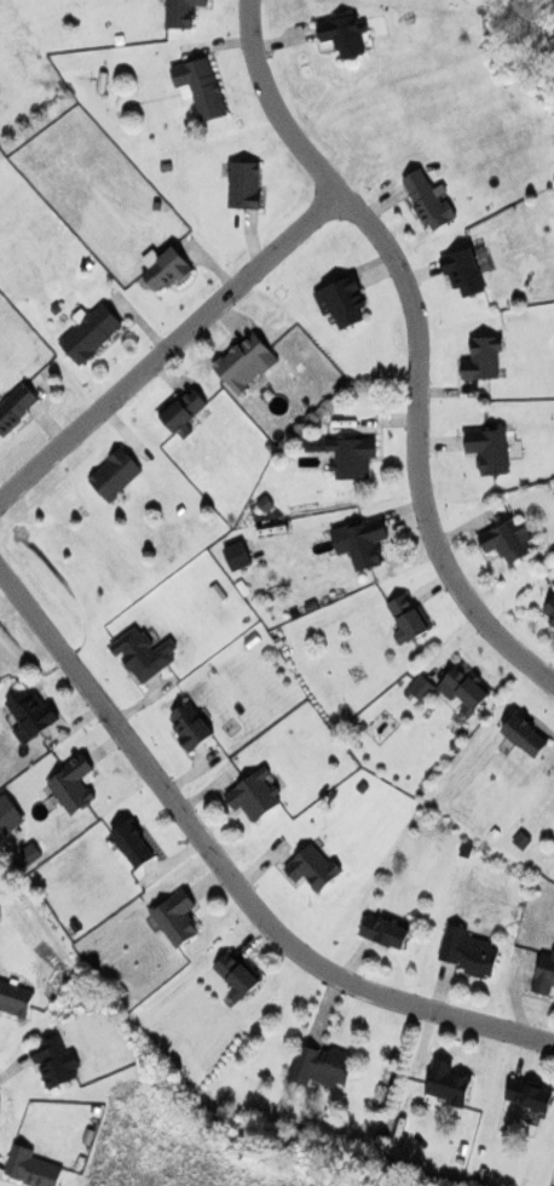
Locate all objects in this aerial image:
building: (181, 12)
building: (345, 34)
building: (201, 87)
building: (244, 184)
building: (427, 199)
building: (166, 269)
building: (463, 271)
building: (346, 300)
building: (91, 333)
road: (419, 342)
road: (169, 345)
building: (483, 357)
building: (246, 362)
building: (16, 407)
building: (184, 412)
building: (489, 448)
building: (347, 454)
building: (115, 474)
building: (507, 540)
building: (362, 542)
building: (237, 555)
building: (549, 612)
building: (410, 617)
building: (144, 653)
building: (419, 689)
building: (464, 689)
building: (30, 715)
building: (190, 724)
building: (525, 735)
building: (73, 785)
building: (254, 795)
building: (133, 844)
building: (312, 867)
road: (229, 871)
building: (175, 917)
building: (385, 932)
building: (468, 951)
building: (544, 975)
building: (15, 998)
building: (56, 1062)
building: (322, 1066)
building: (446, 1082)
building: (530, 1094)
building: (31, 1168)

